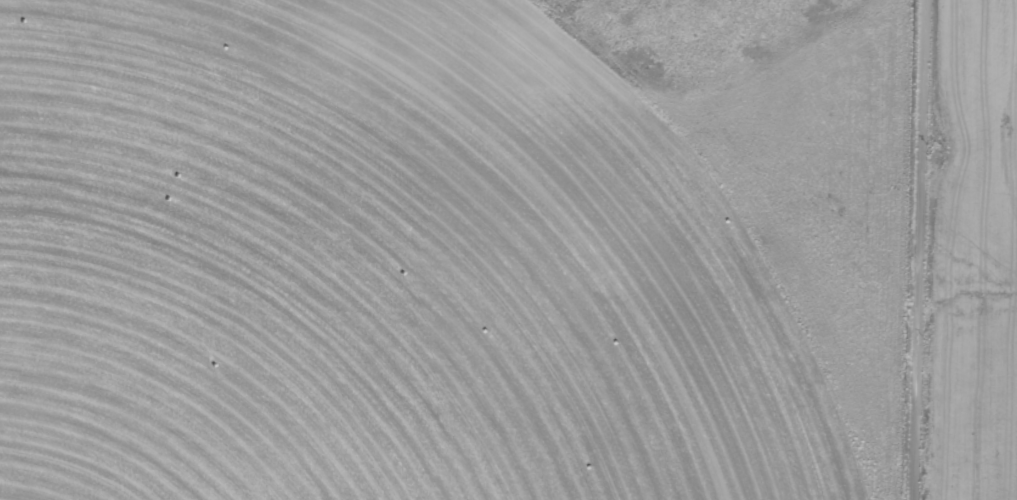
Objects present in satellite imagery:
road: (921, 250)

